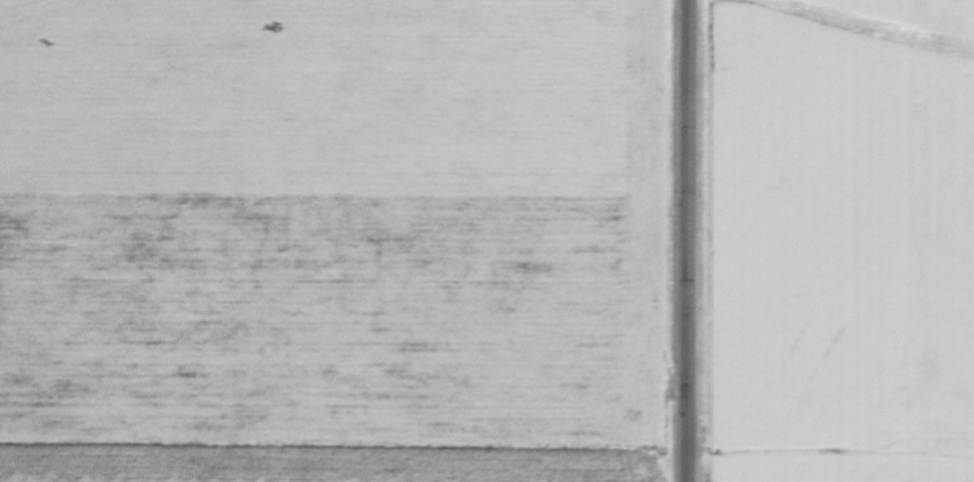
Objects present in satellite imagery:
road: (687, 241)

